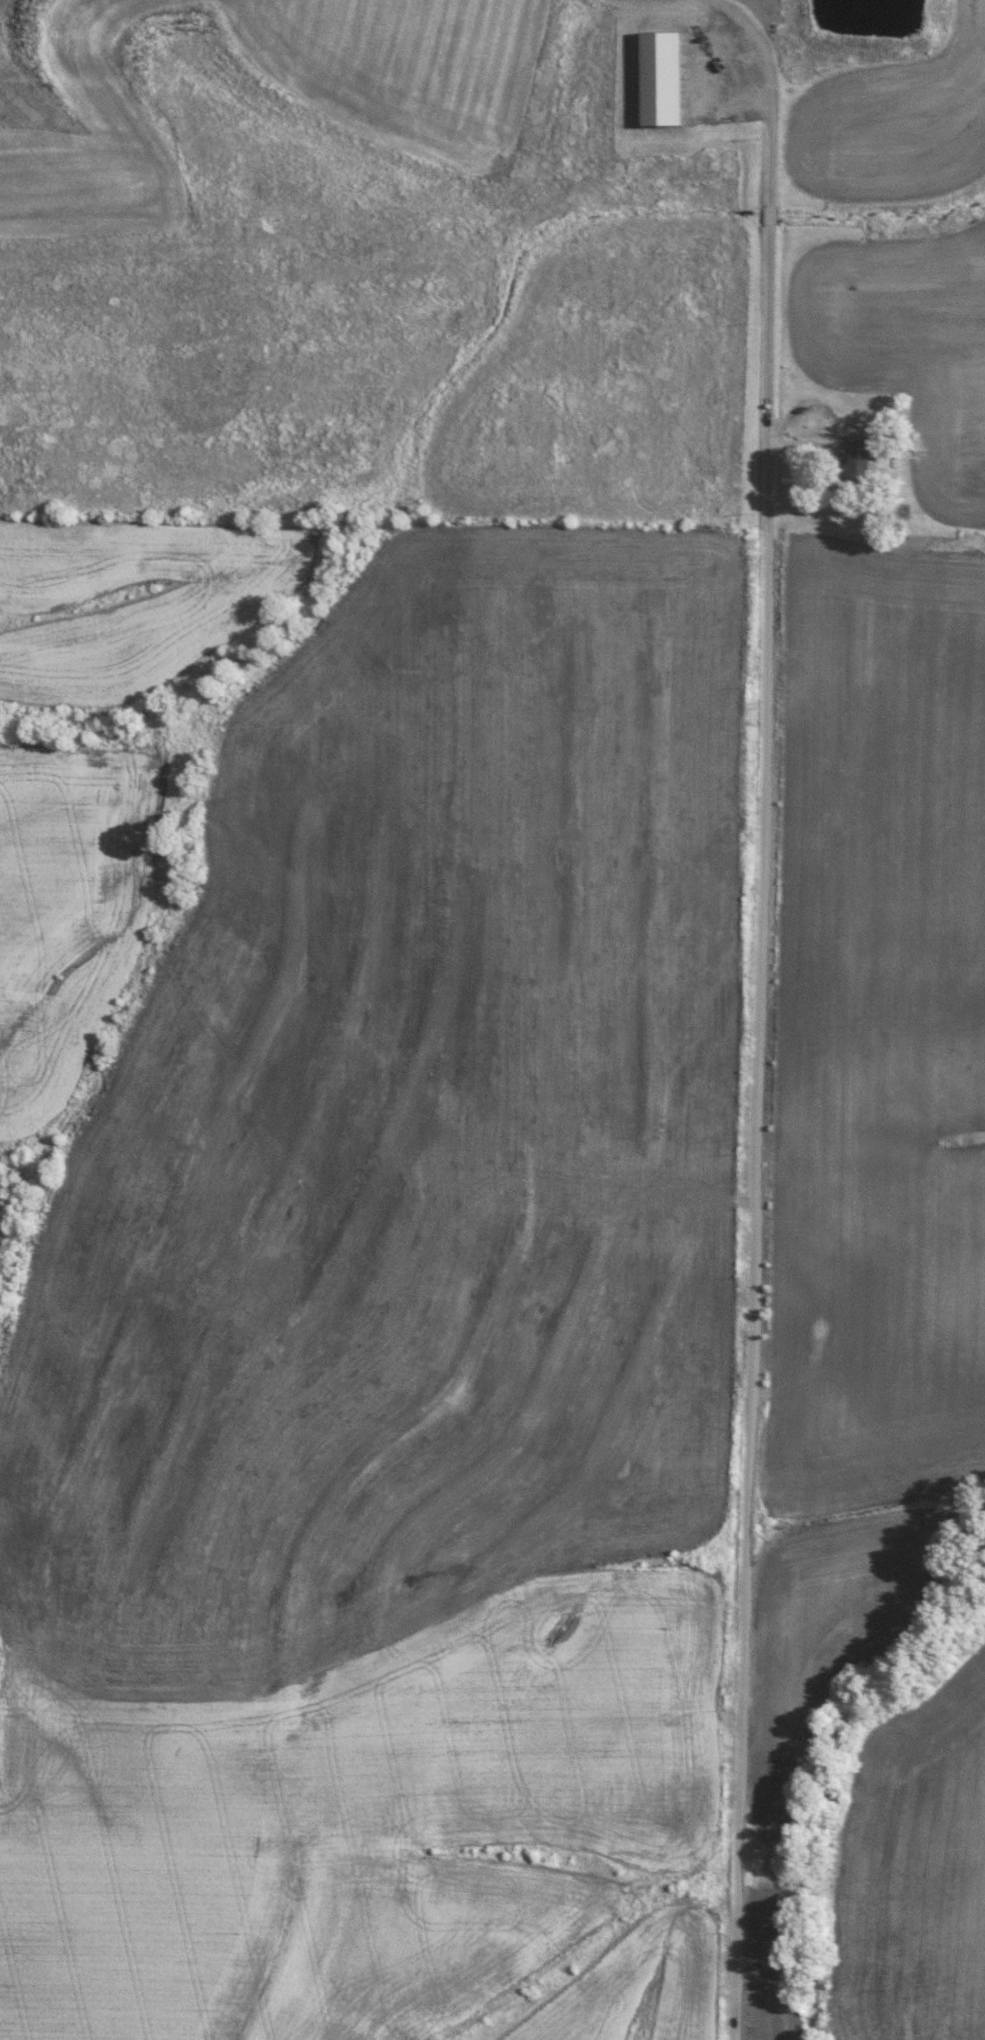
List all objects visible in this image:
building: (754, 94)
building: (862, 456)
road: (754, 1242)

